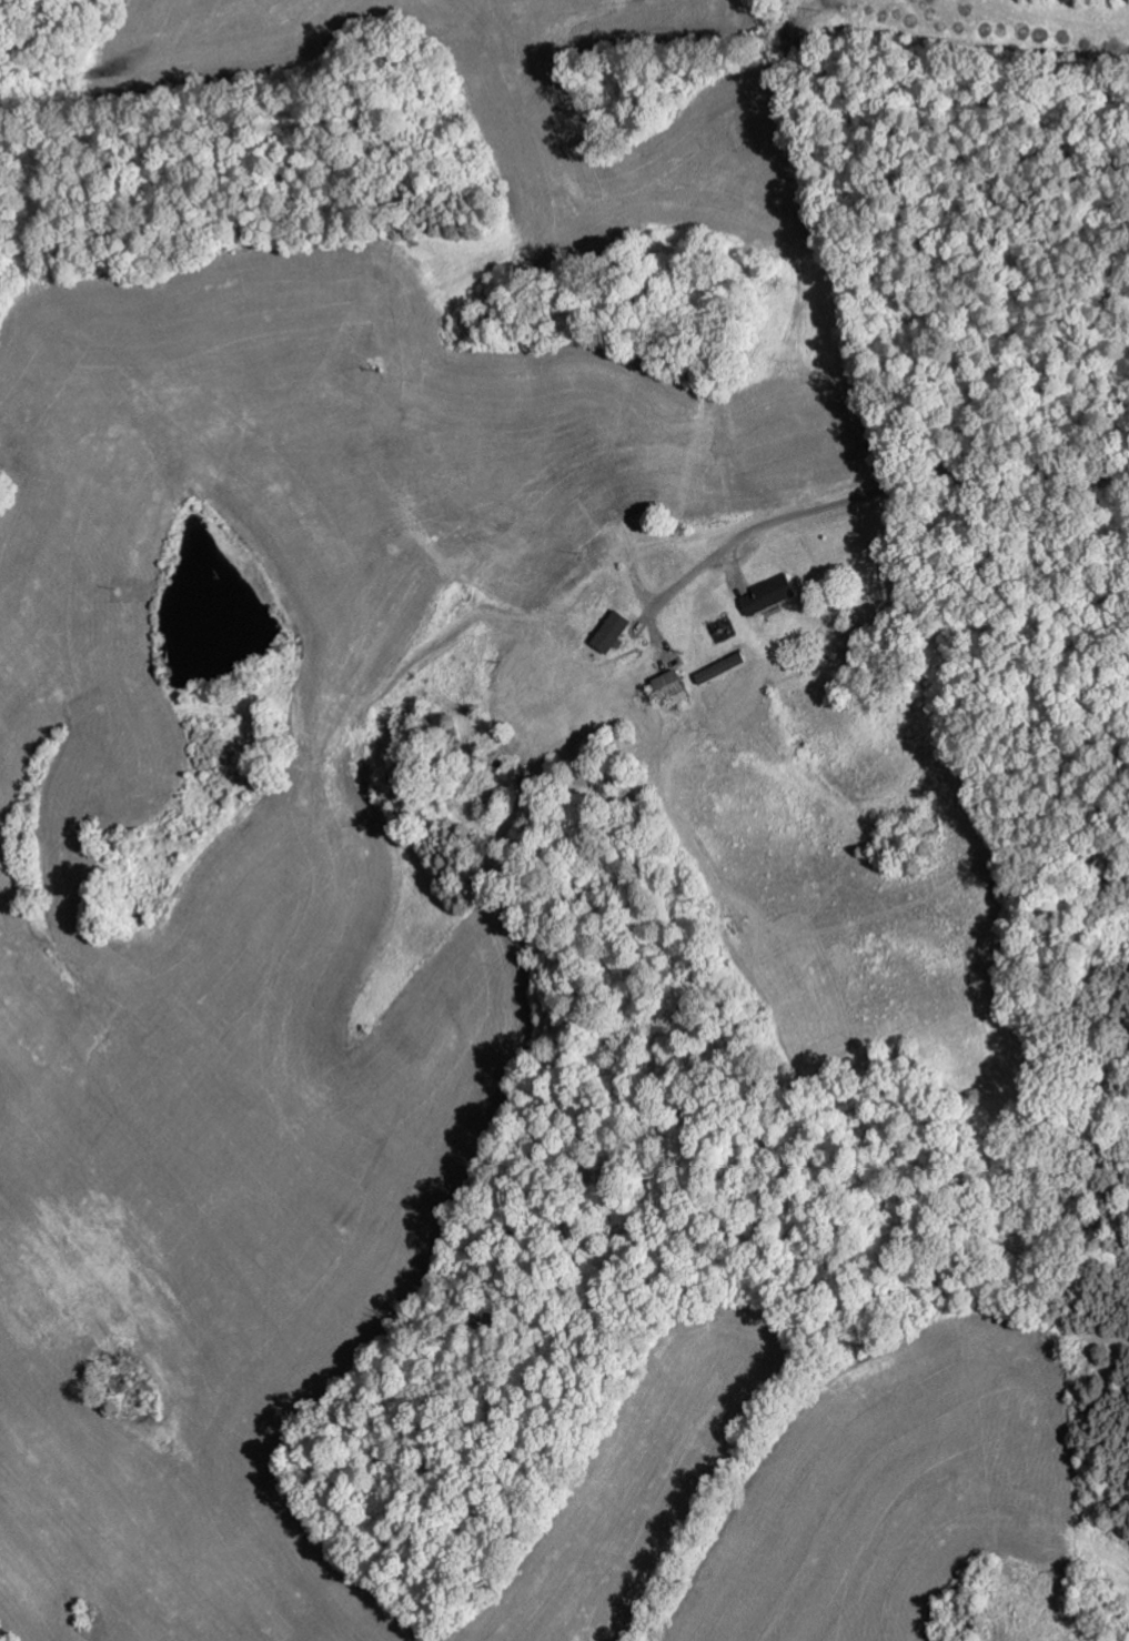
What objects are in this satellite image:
road: (883, 487)
building: (774, 593)
building: (615, 631)
building: (727, 667)

